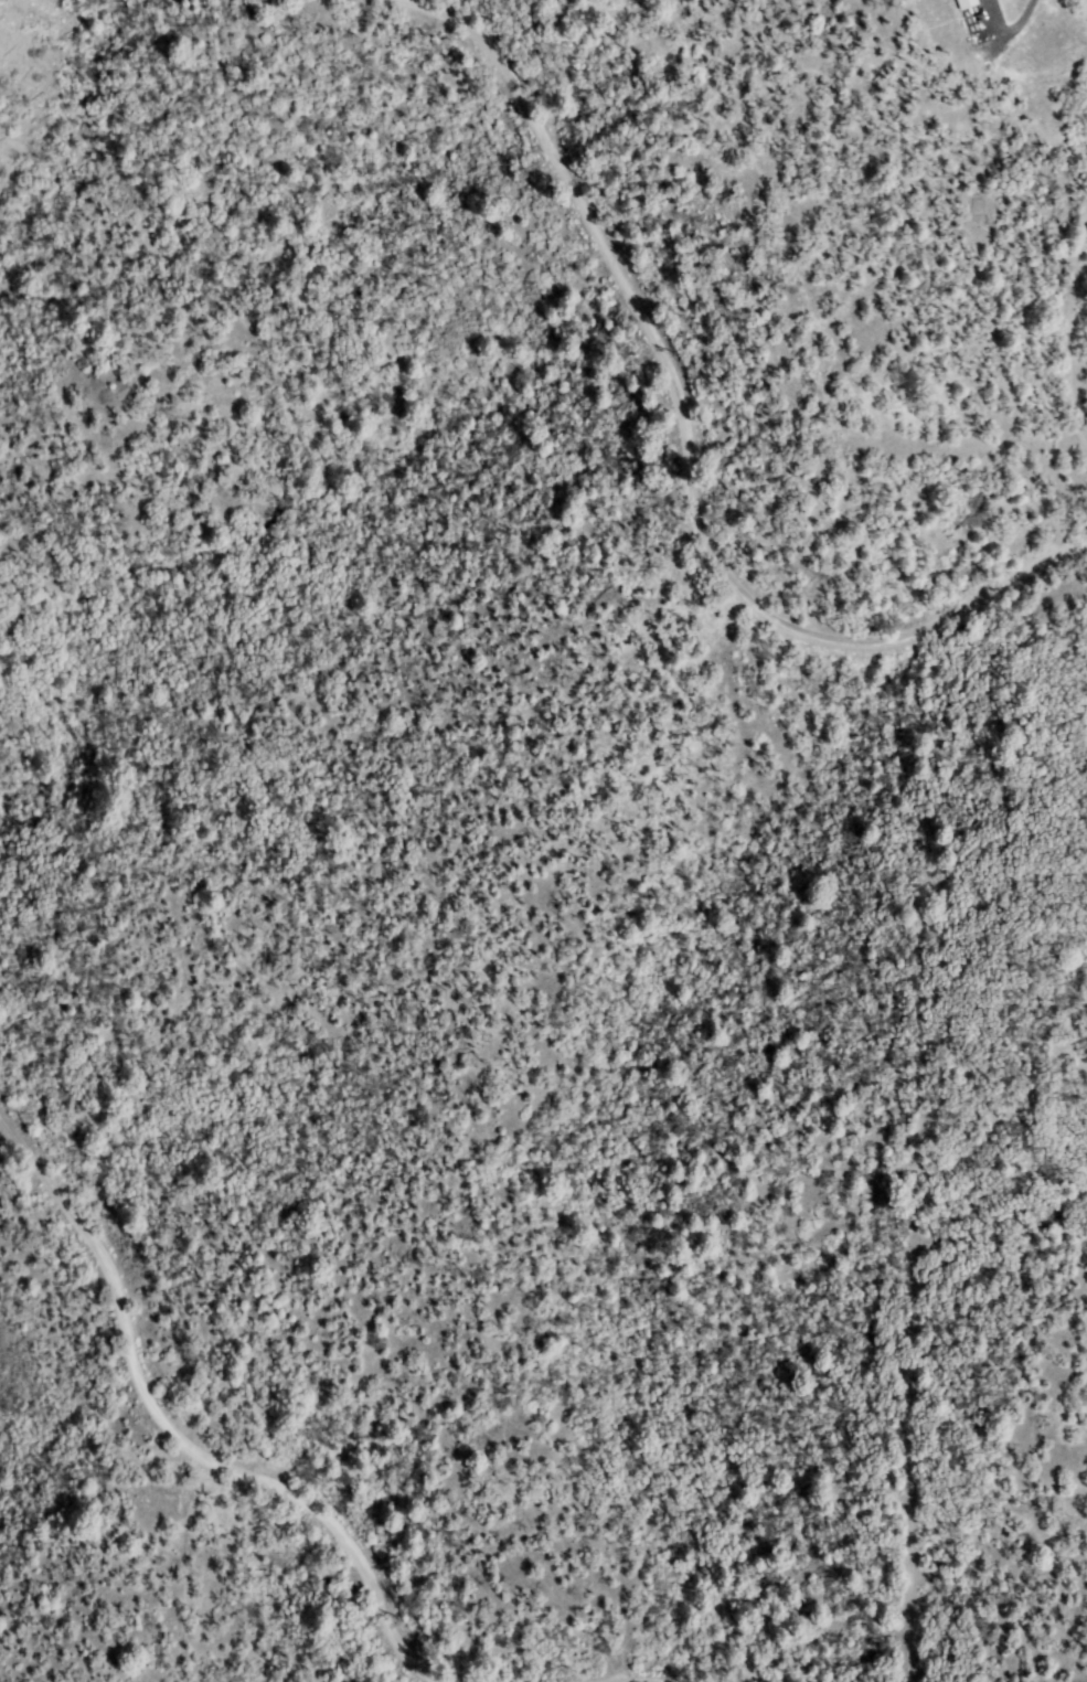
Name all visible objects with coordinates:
building: (967, 2)
road: (1013, 31)
road: (1075, 332)
road: (691, 440)
road: (173, 1439)

